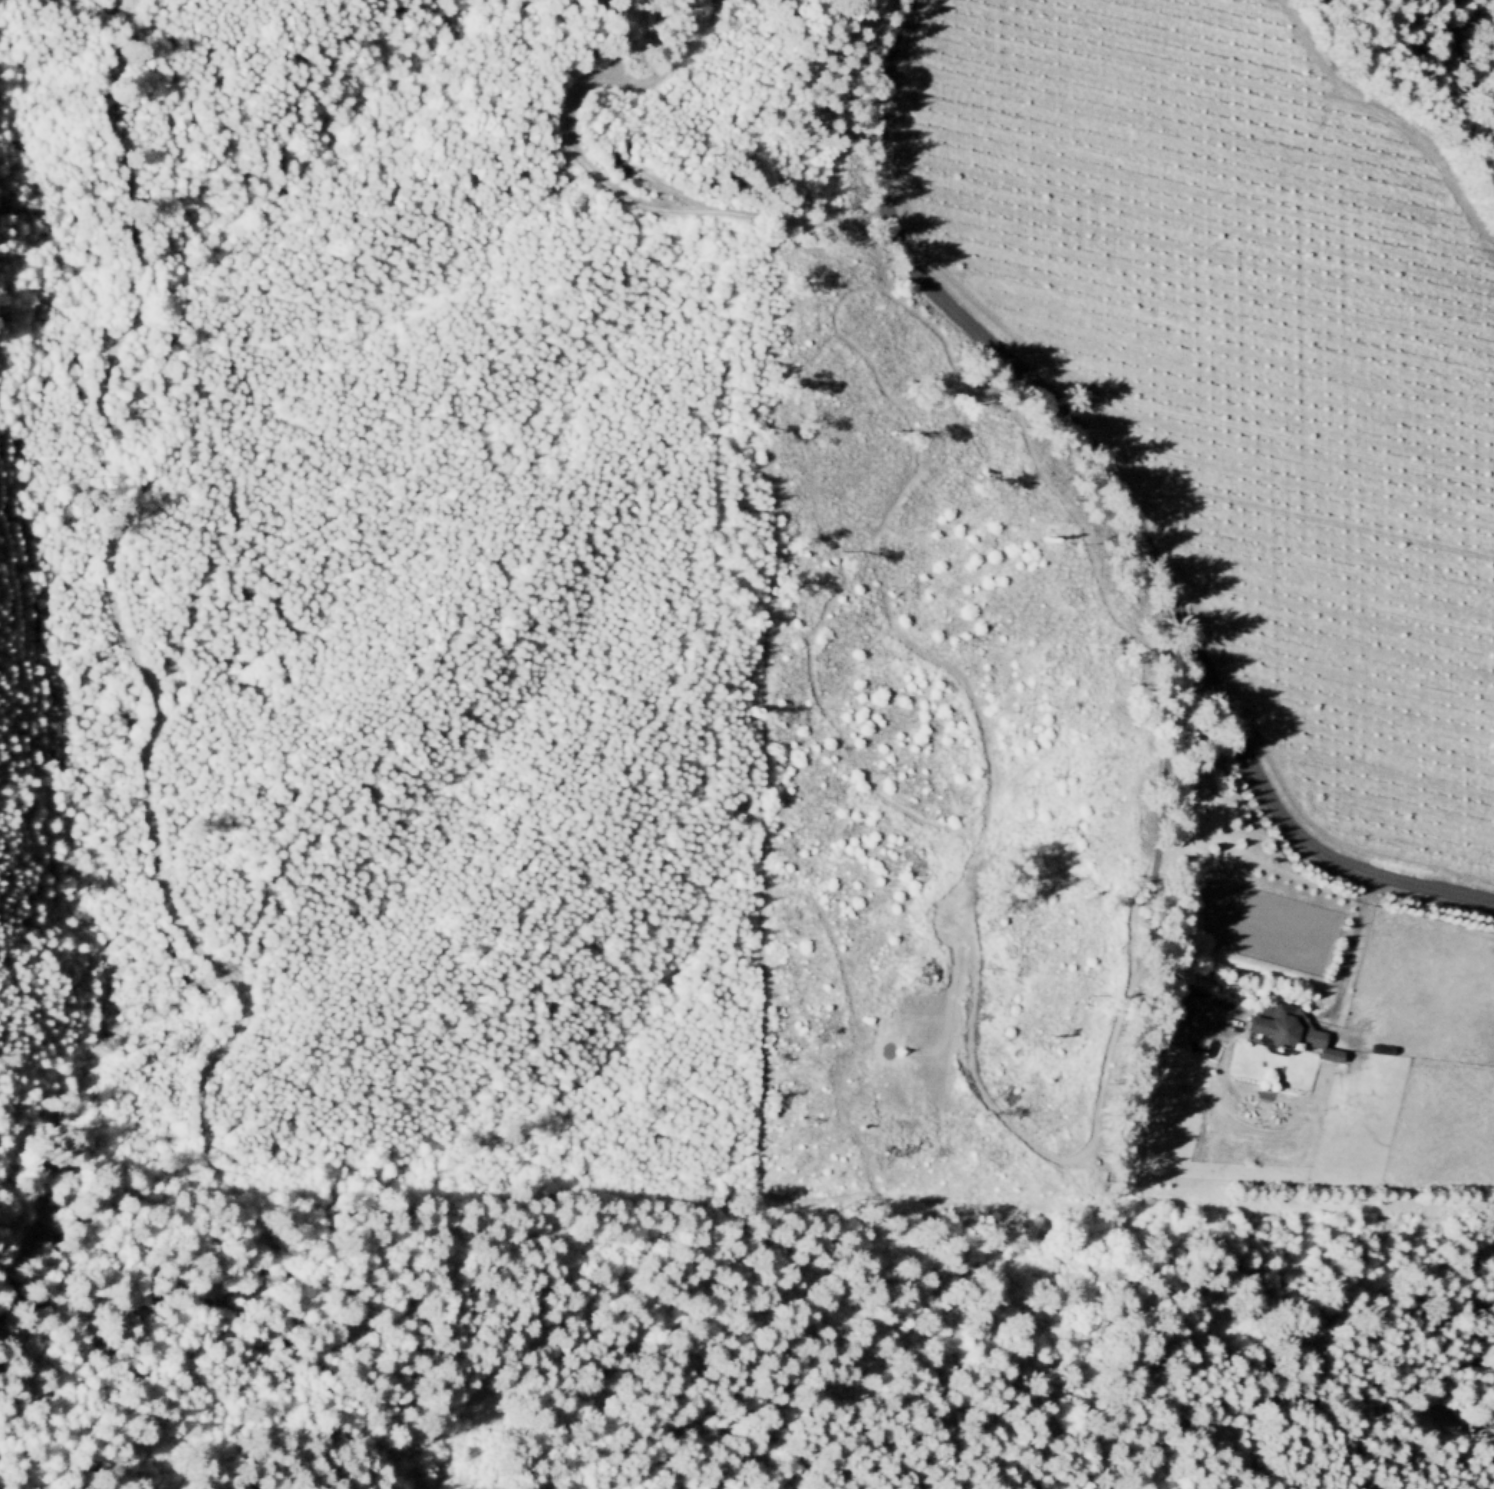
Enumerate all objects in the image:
road: (632, 200)
crop: (1246, 369)
road: (1123, 497)
road: (114, 601)
road: (1151, 852)
road: (1353, 943)
building: (1280, 1024)
building: (1198, 1038)

